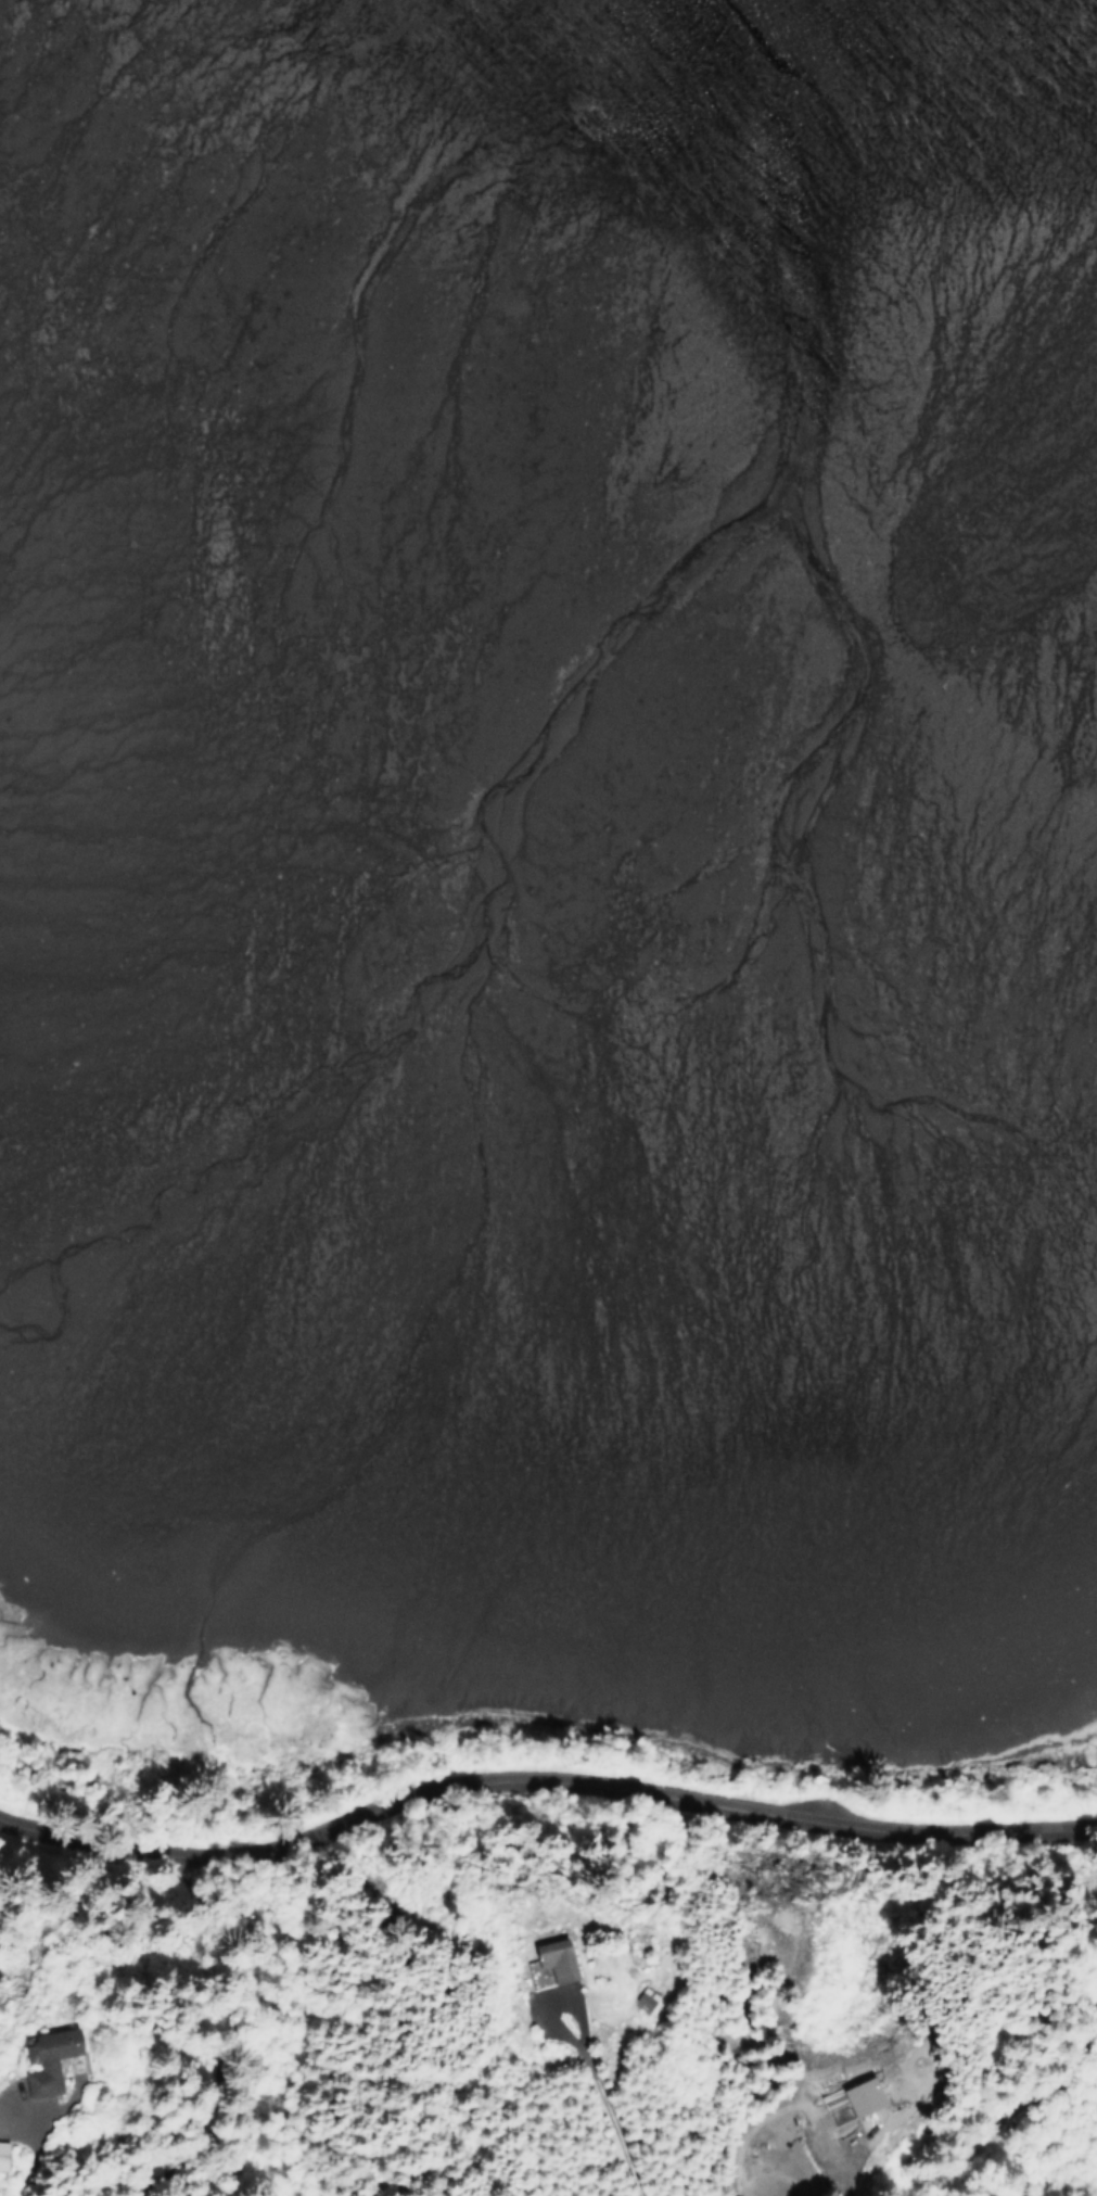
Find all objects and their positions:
road: (541, 1778)
building: (550, 1958)
building: (645, 1998)
road: (211, 2002)
building: (46, 2059)
road: (1063, 2077)
road: (604, 2093)
building: (858, 2095)
road: (999, 2133)
building: (2, 2155)
road: (65, 2192)

